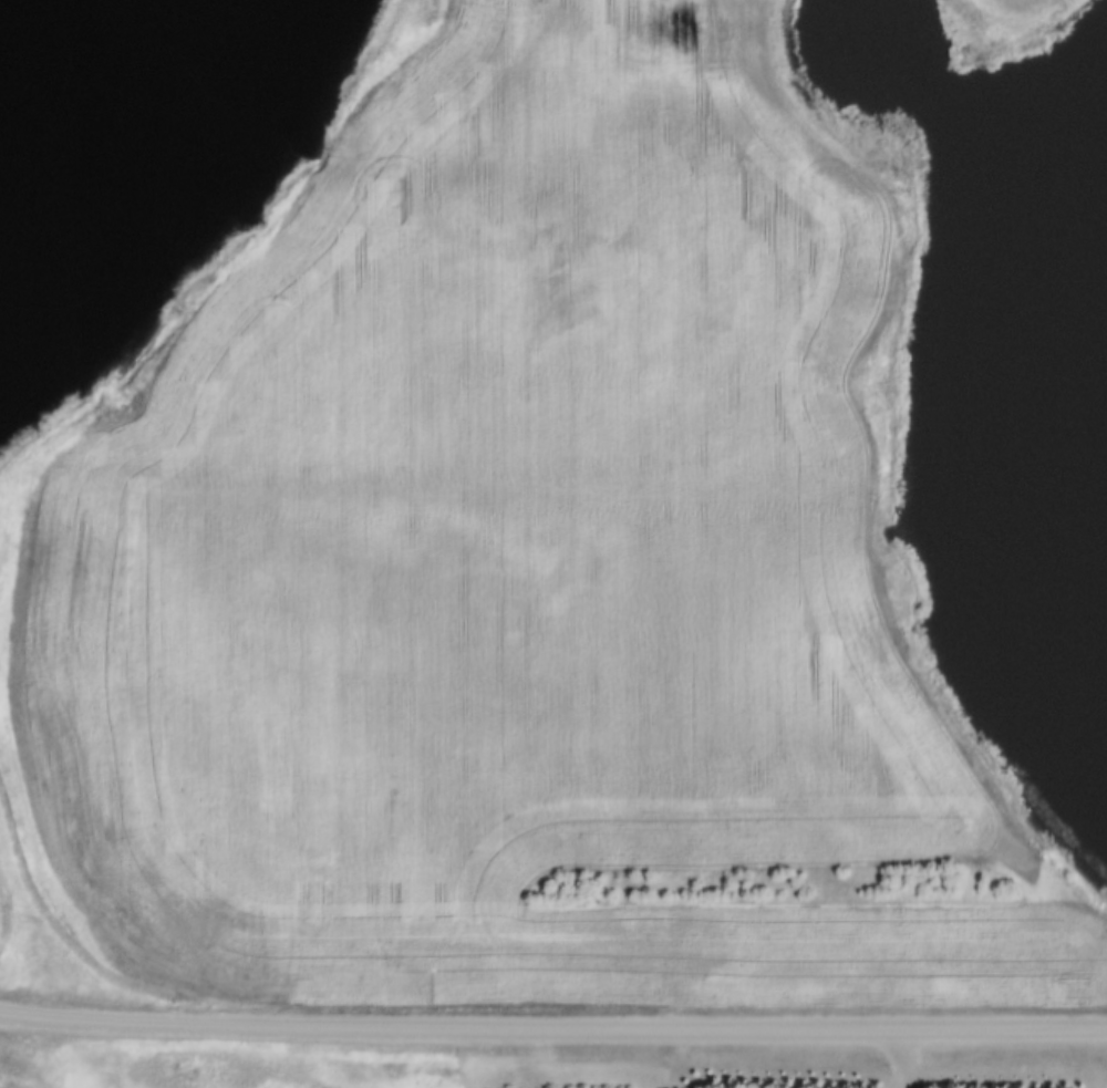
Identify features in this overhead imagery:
road: (552, 1026)

